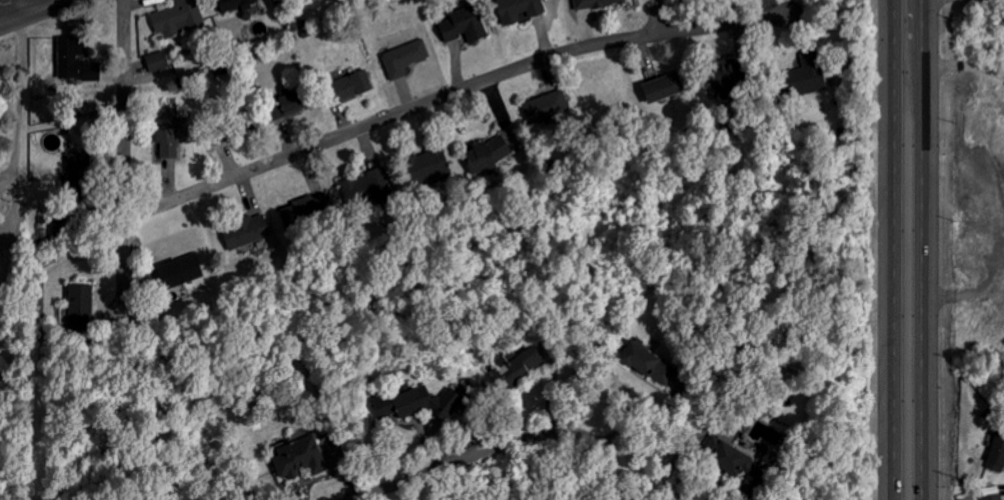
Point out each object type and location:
building: (598, 3)
building: (237, 4)
road: (9, 9)
building: (519, 9)
road: (32, 11)
road: (659, 17)
building: (177, 18)
building: (466, 28)
building: (405, 58)
building: (76, 60)
building: (157, 61)
road: (963, 67)
building: (807, 74)
building: (722, 75)
building: (349, 86)
building: (659, 89)
road: (450, 92)
building: (284, 105)
road: (124, 109)
building: (541, 109)
road: (19, 114)
building: (168, 131)
building: (482, 156)
building: (429, 166)
building: (314, 205)
building: (247, 232)
road: (922, 249)
road: (894, 250)
road: (124, 268)
building: (181, 271)
building: (84, 304)
building: (533, 358)
building: (647, 363)
building: (510, 369)
building: (422, 403)
road: (507, 447)
building: (722, 455)
building: (996, 455)
building: (299, 458)
road: (663, 465)
building: (994, 497)

